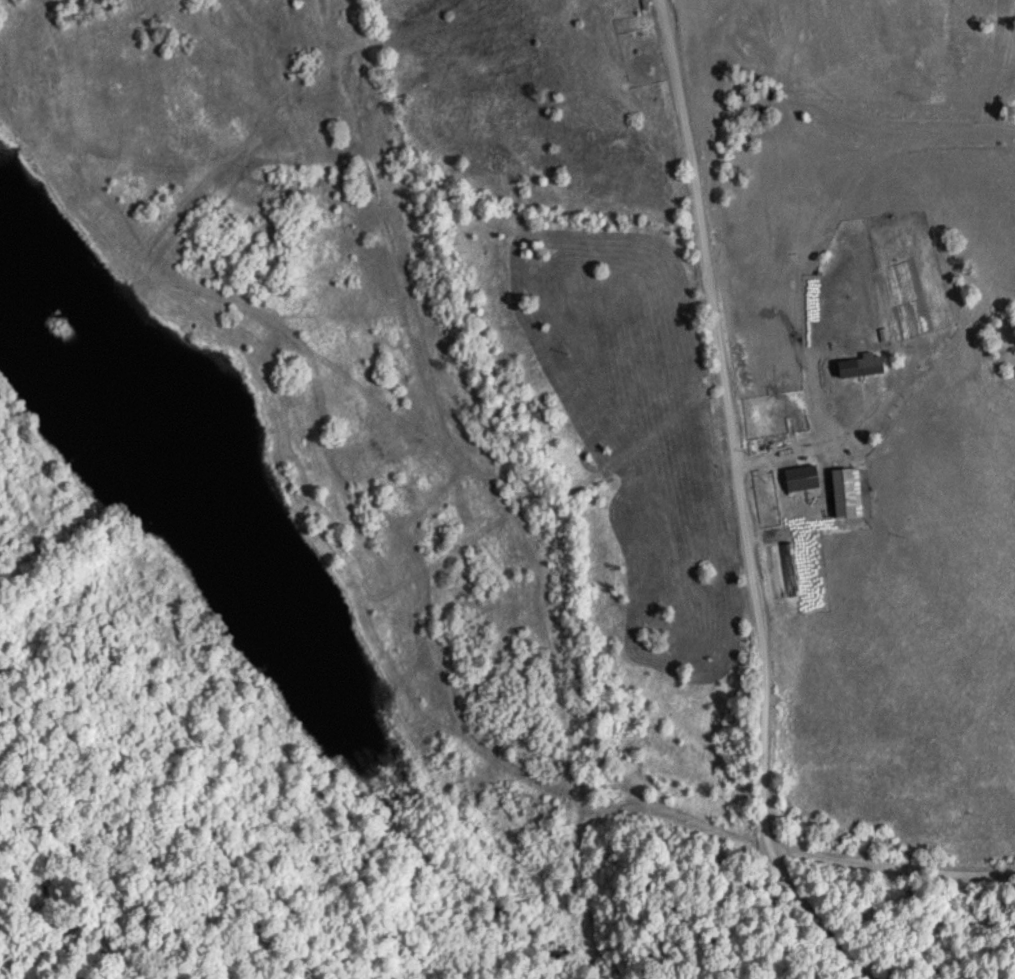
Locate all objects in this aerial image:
road: (748, 503)
road: (949, 938)
road: (888, 966)

